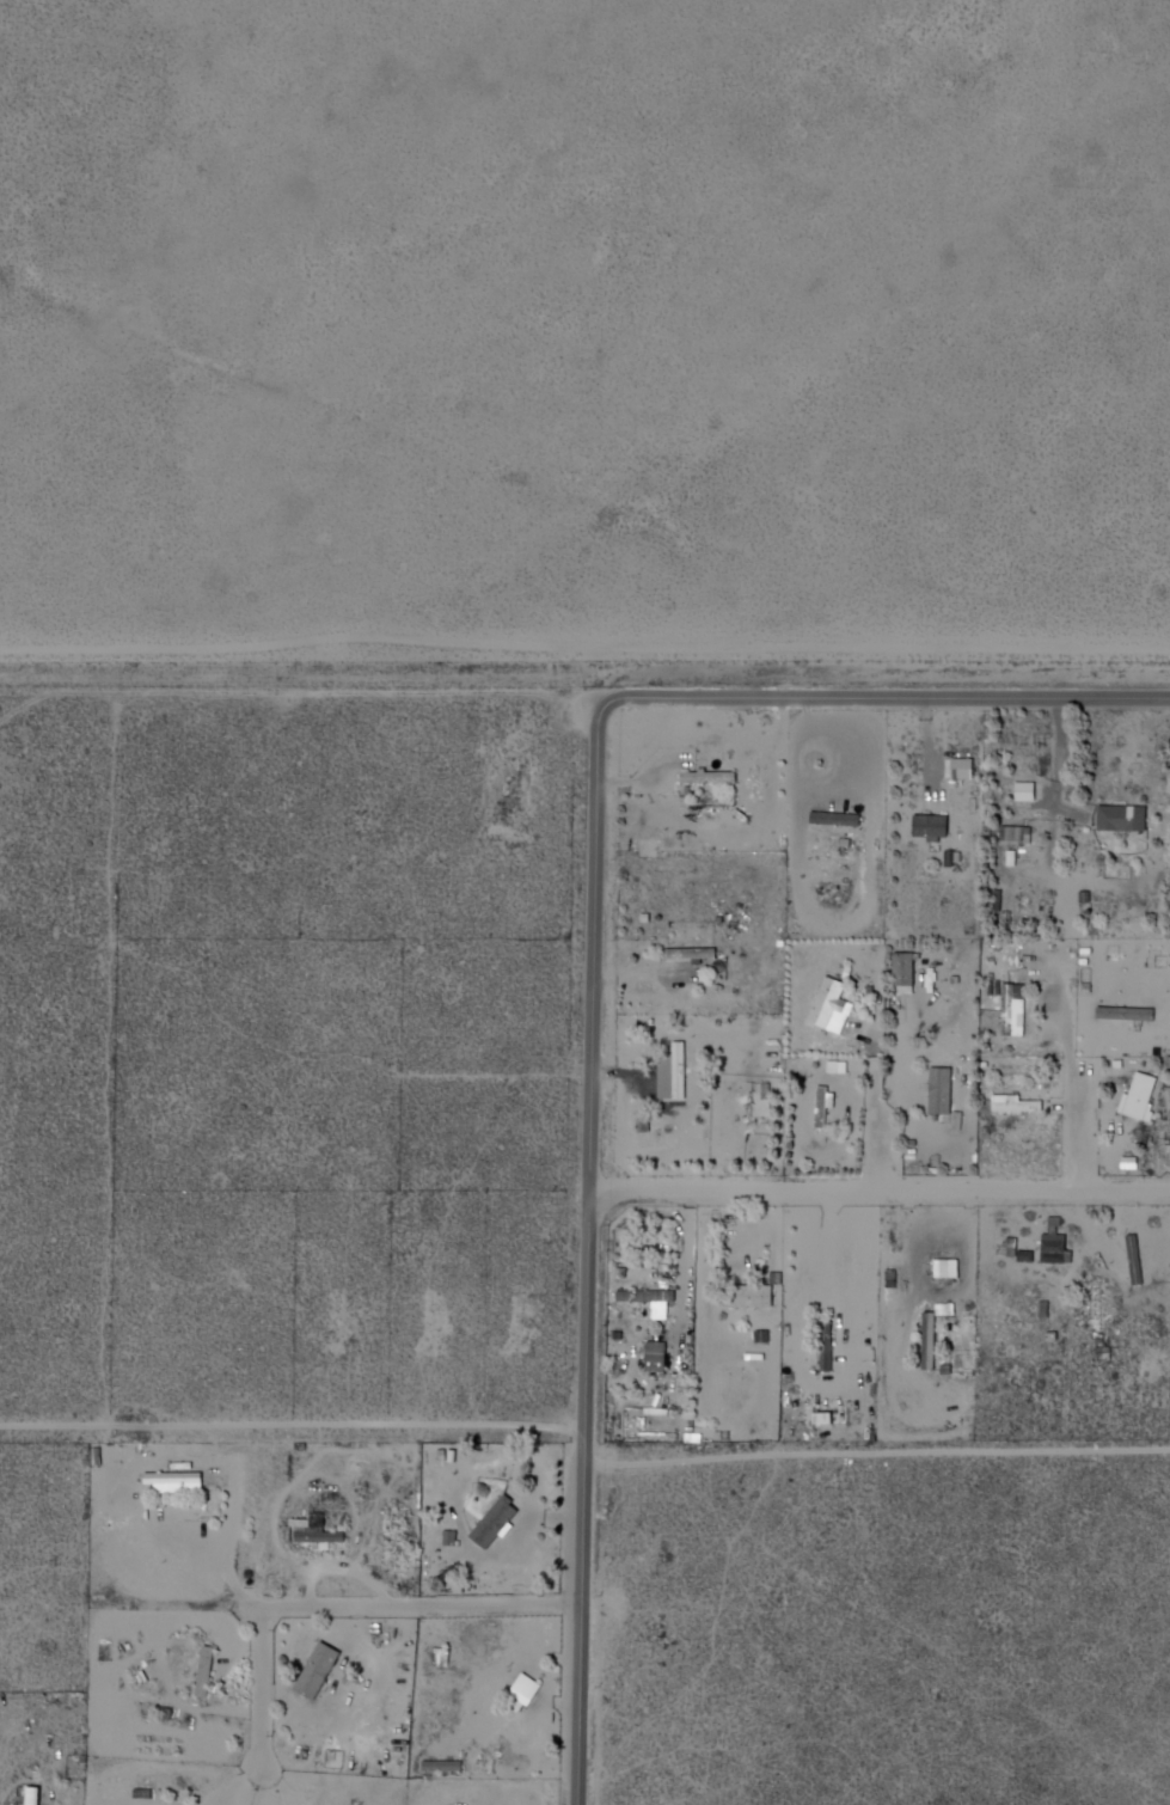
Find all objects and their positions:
road: (892, 692)
building: (958, 769)
building: (712, 776)
building: (1123, 818)
building: (841, 819)
building: (937, 827)
building: (1013, 836)
building: (699, 953)
building: (908, 968)
building: (831, 1001)
building: (1018, 1009)
building: (673, 1070)
building: (681, 1070)
building: (944, 1090)
building: (1143, 1099)
building: (1019, 1103)
building: (820, 1105)
building: (828, 1108)
road: (883, 1131)
road: (1085, 1132)
road: (884, 1191)
road: (599, 1244)
building: (1058, 1244)
building: (1139, 1259)
road: (694, 1274)
building: (753, 1296)
building: (654, 1299)
building: (935, 1340)
building: (926, 1341)
building: (831, 1345)
building: (653, 1358)
road: (298, 1426)
building: (180, 1481)
building: (497, 1524)
building: (327, 1536)
road: (338, 1605)
building: (202, 1671)
building: (212, 1671)
building: (321, 1671)
building: (529, 1693)
building: (449, 1766)
building: (30, 1795)

